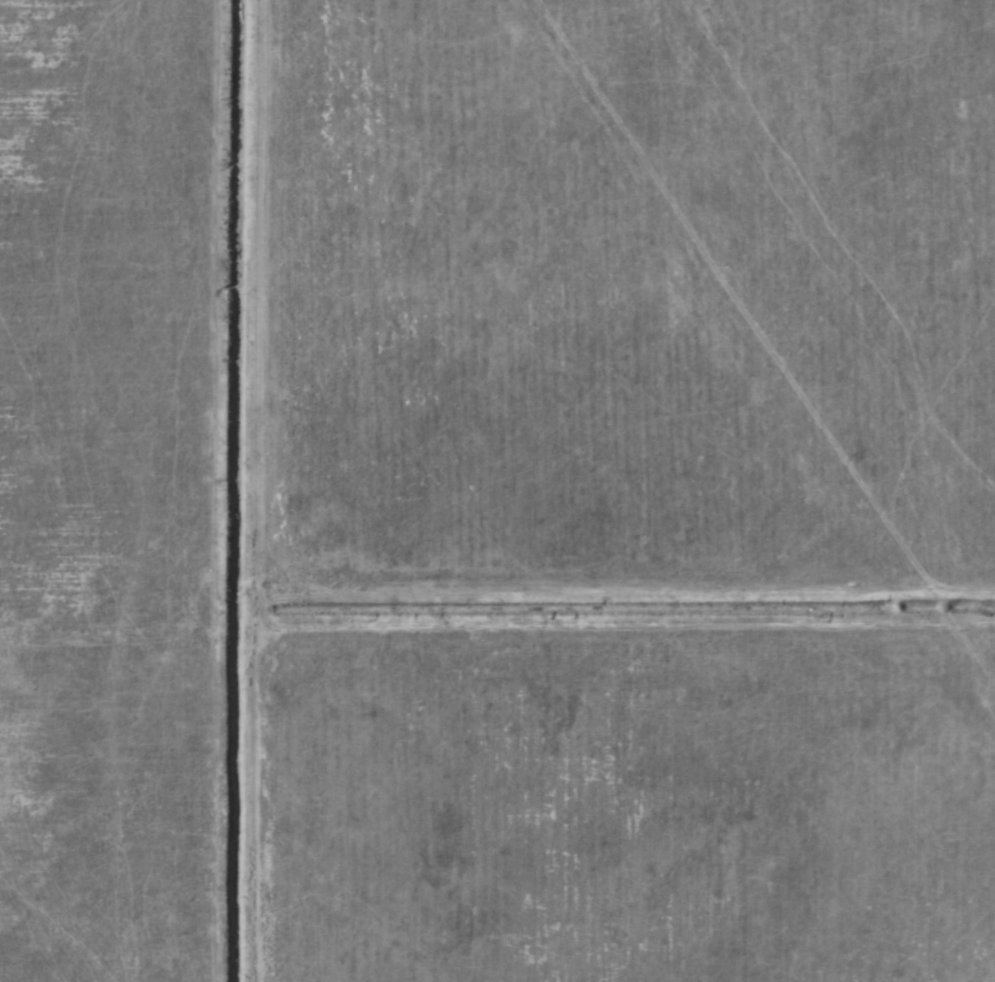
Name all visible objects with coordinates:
road: (770, 335)

